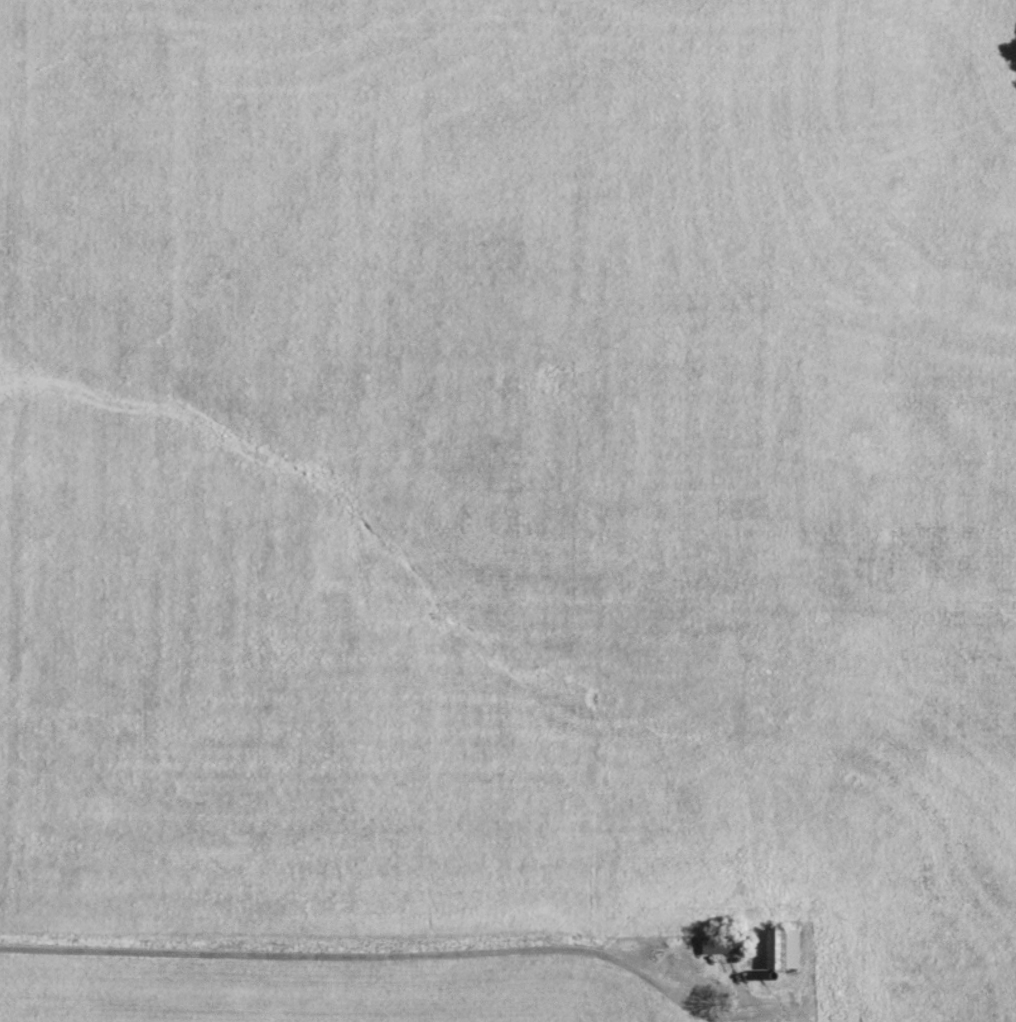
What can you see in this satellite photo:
building: (717, 947)
building: (780, 950)
road: (415, 955)

